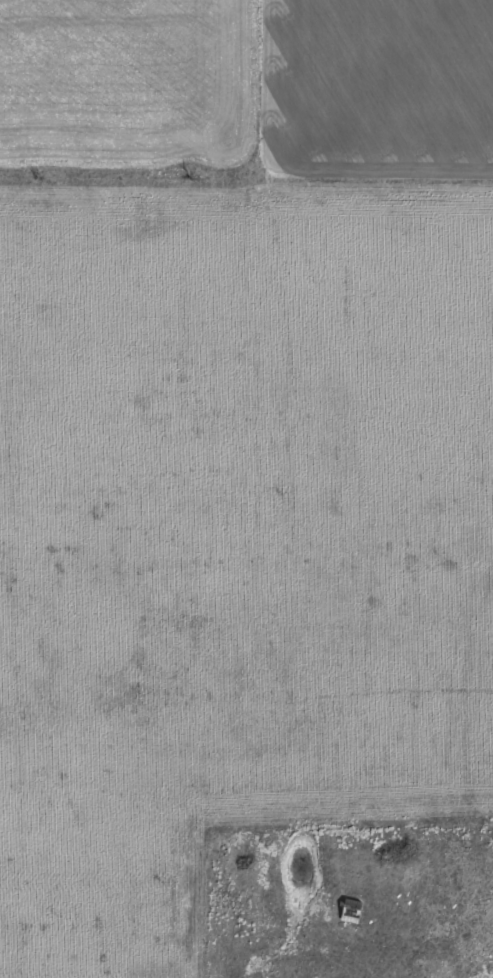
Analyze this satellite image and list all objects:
building: (351, 914)

